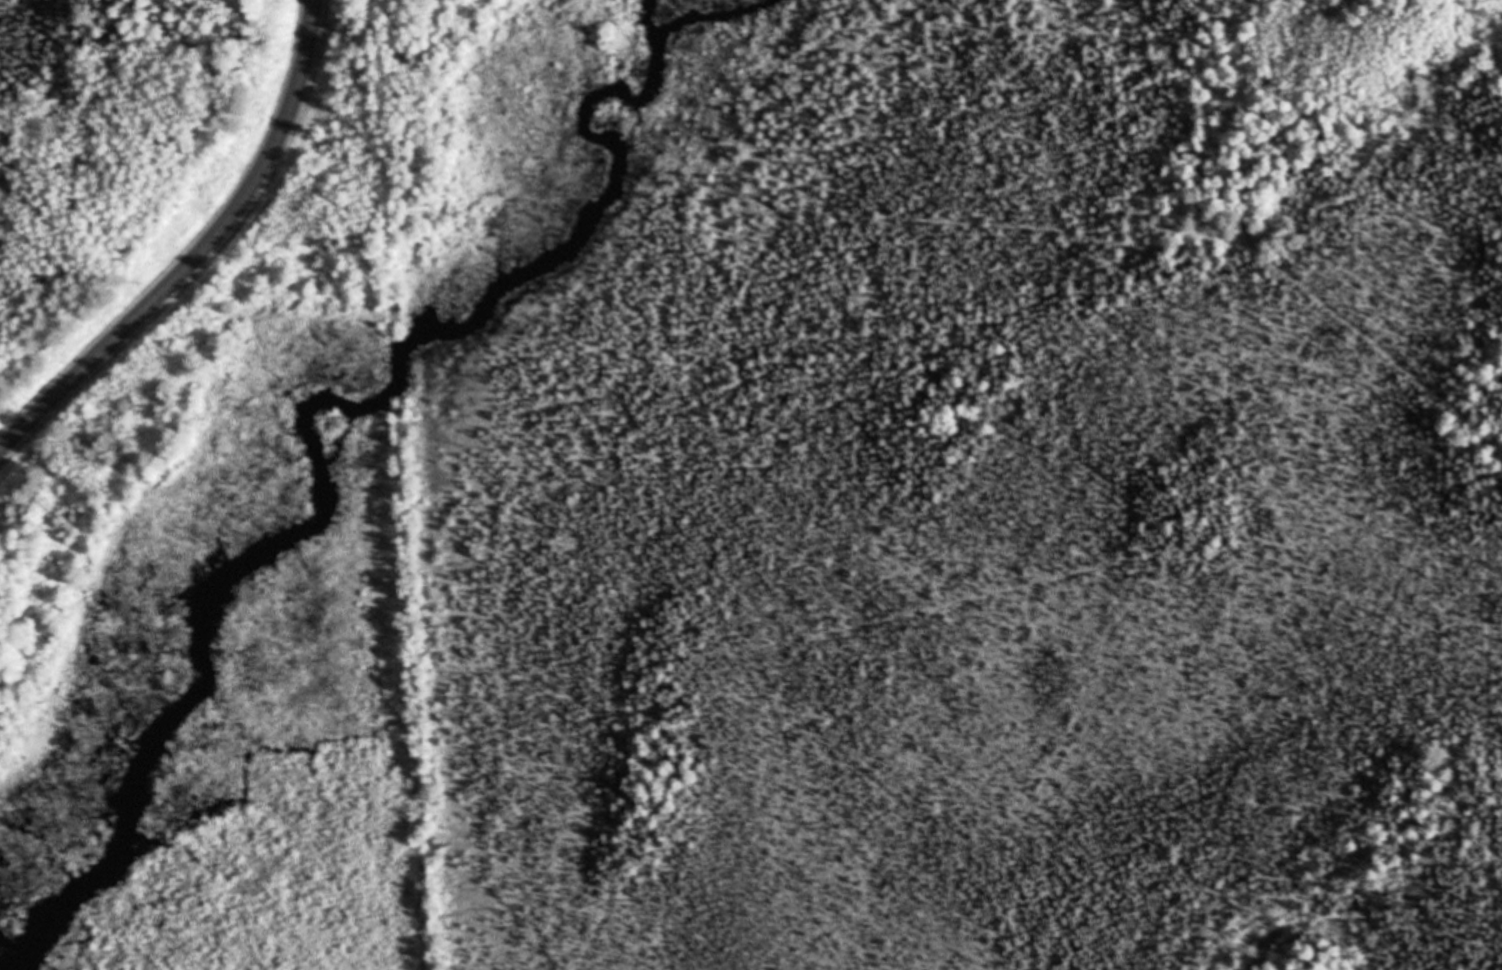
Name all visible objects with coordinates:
road: (383, 141)
road: (199, 252)
river: (307, 409)
road: (418, 696)

